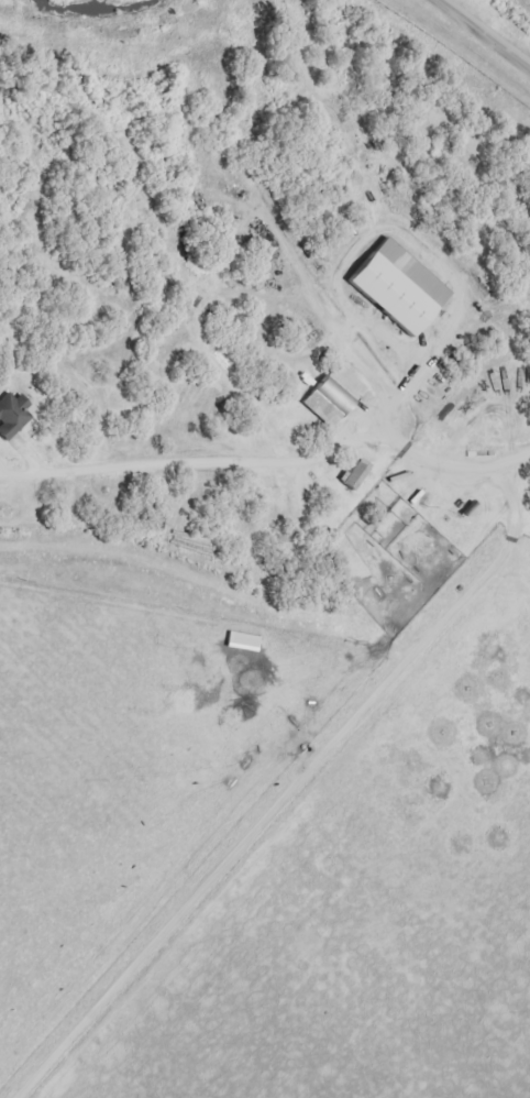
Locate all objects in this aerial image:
river: (101, 10)
road: (488, 31)
building: (389, 286)
building: (325, 393)
road: (196, 462)
road: (453, 462)
building: (347, 472)
road: (297, 788)

